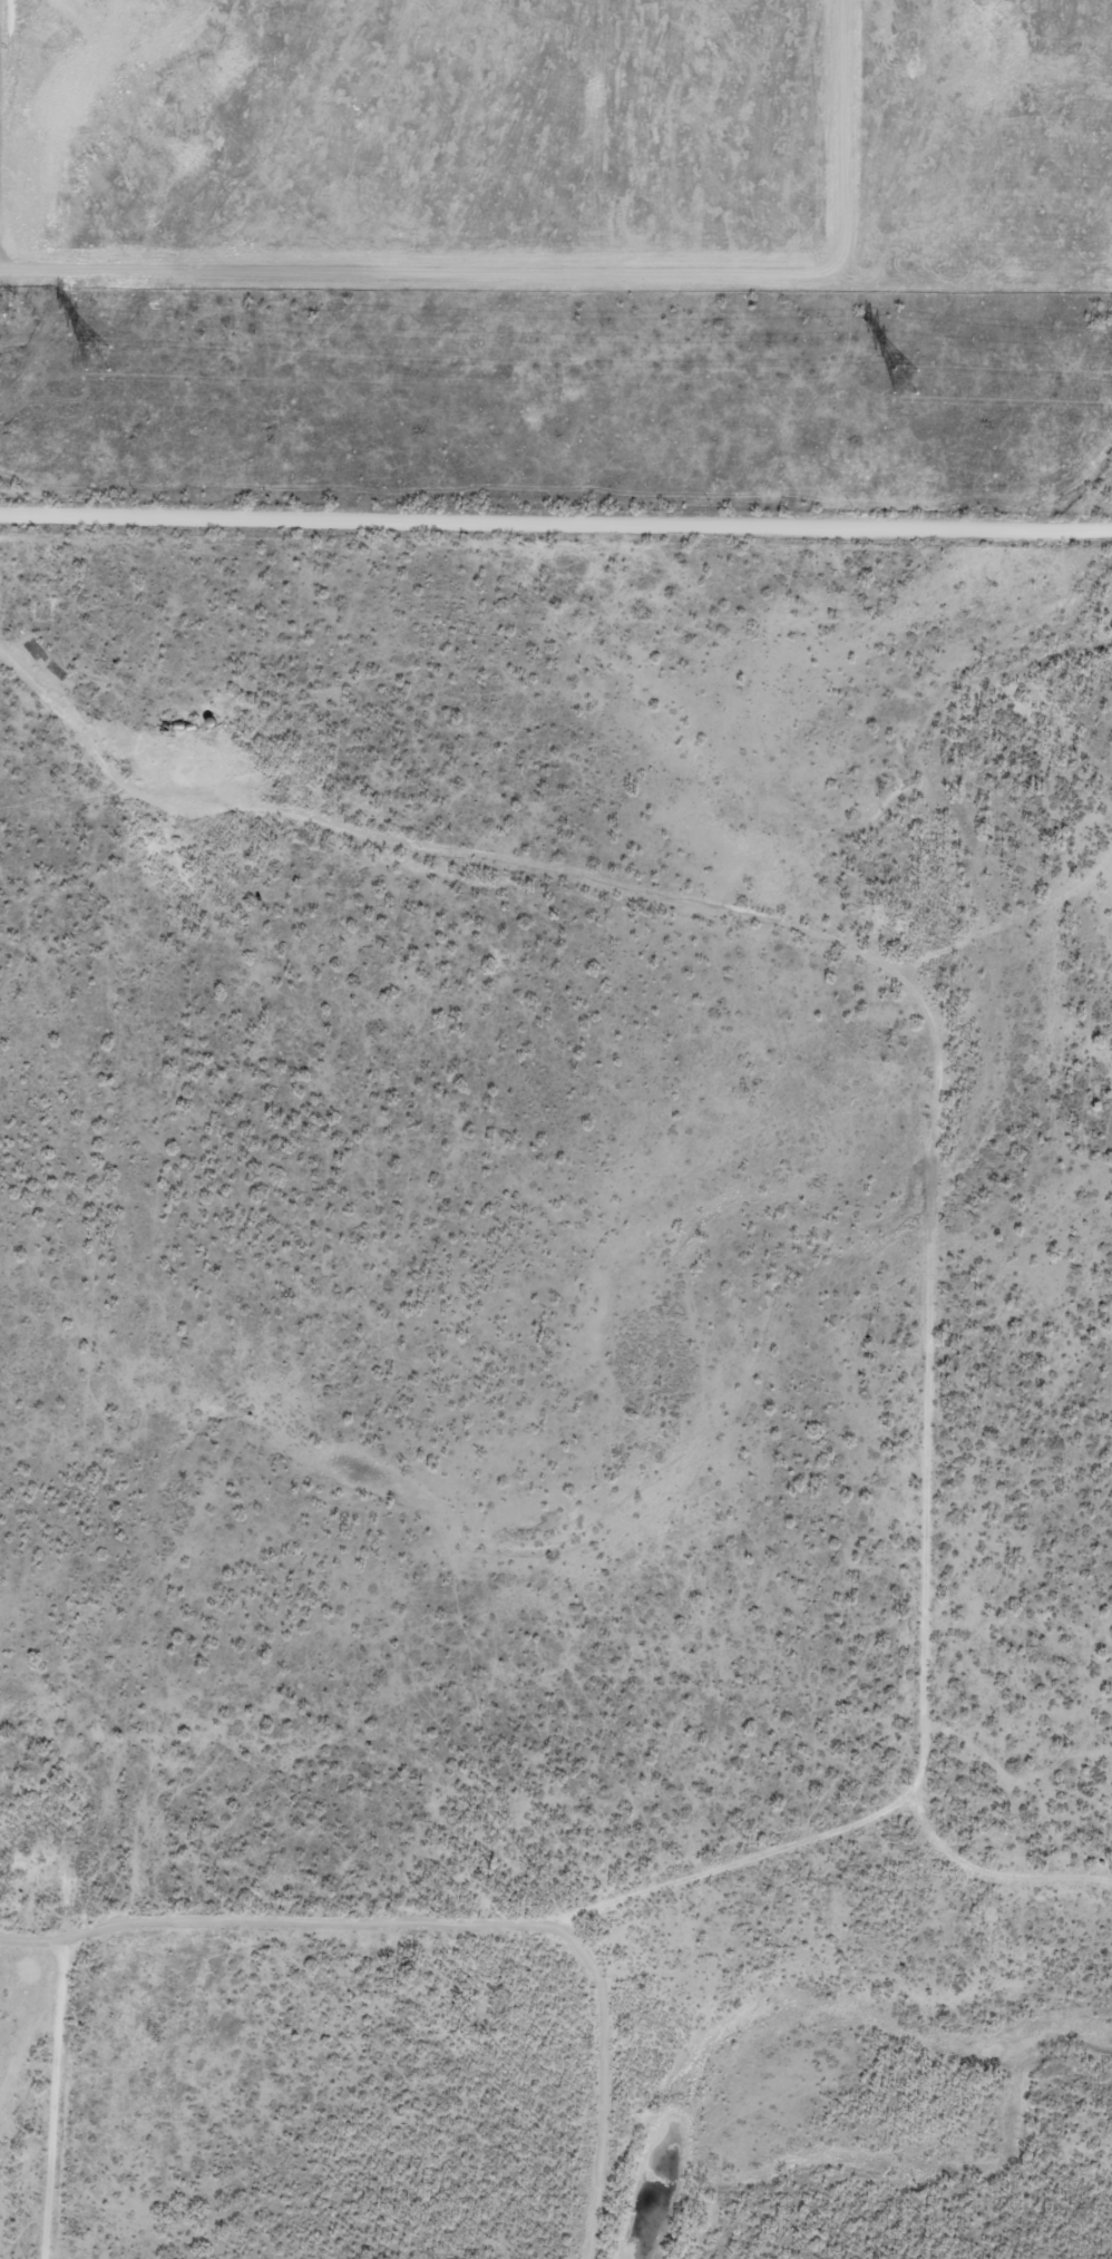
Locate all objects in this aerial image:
power tower: (97, 359)
power tower: (901, 379)
road: (556, 516)
road: (221, 791)
road: (1011, 917)
road: (935, 1080)
road: (992, 1868)
road: (262, 1920)
road: (603, 2071)
road: (55, 2100)

